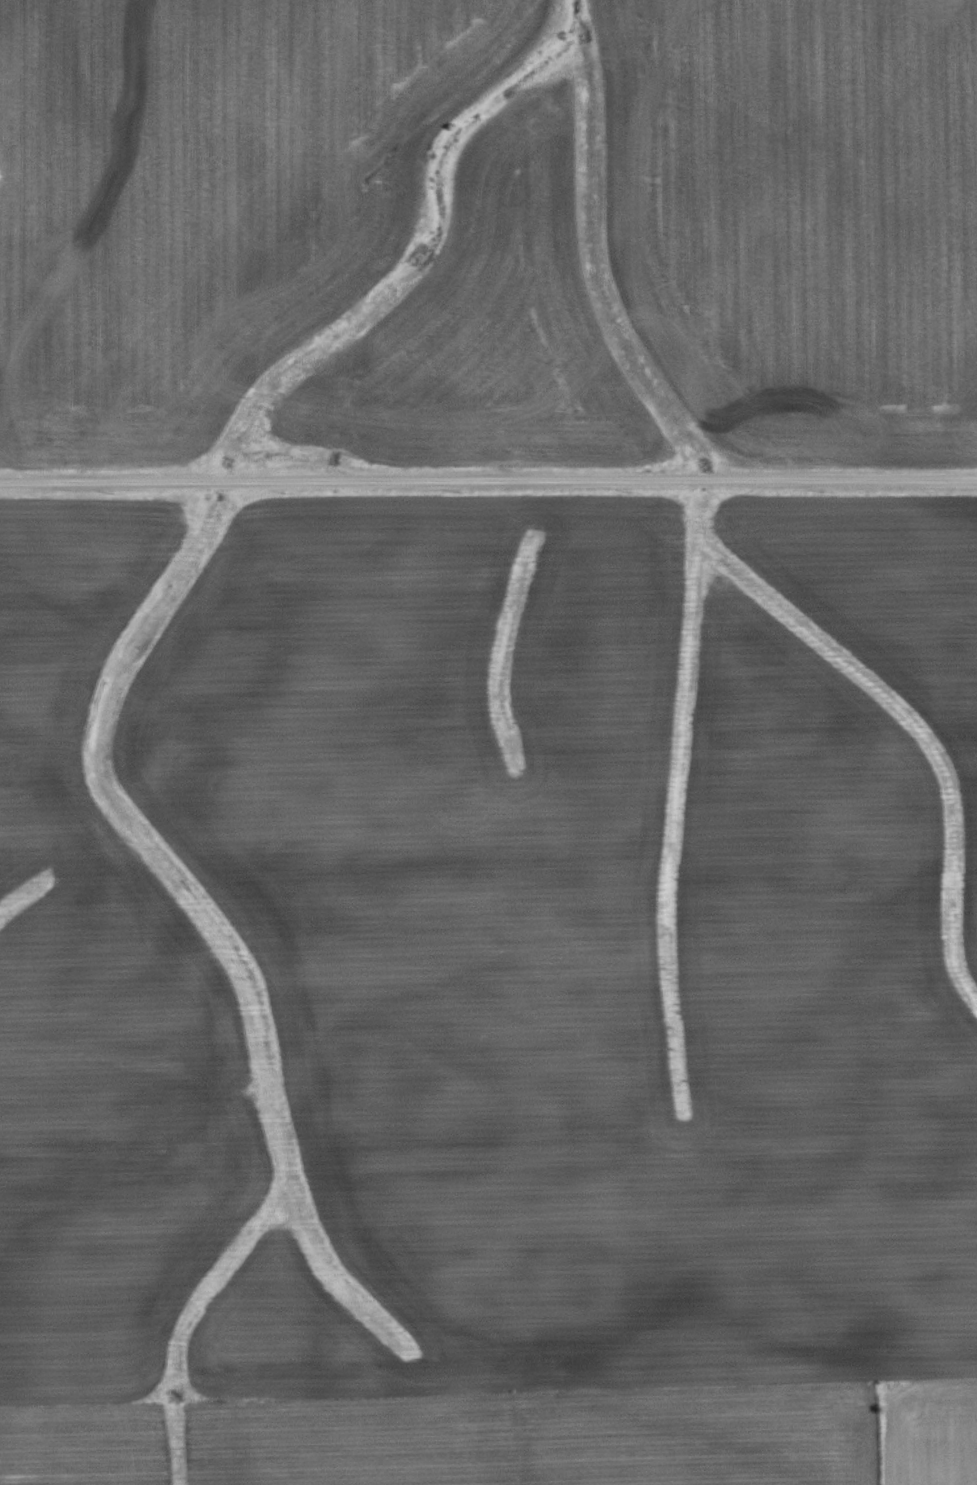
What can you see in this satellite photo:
road: (488, 479)

